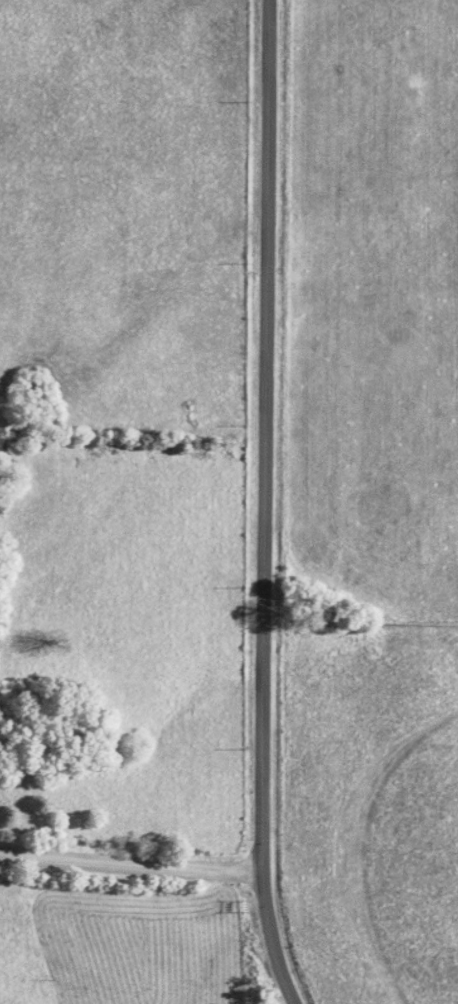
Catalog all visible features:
road: (259, 504)
road: (127, 865)

